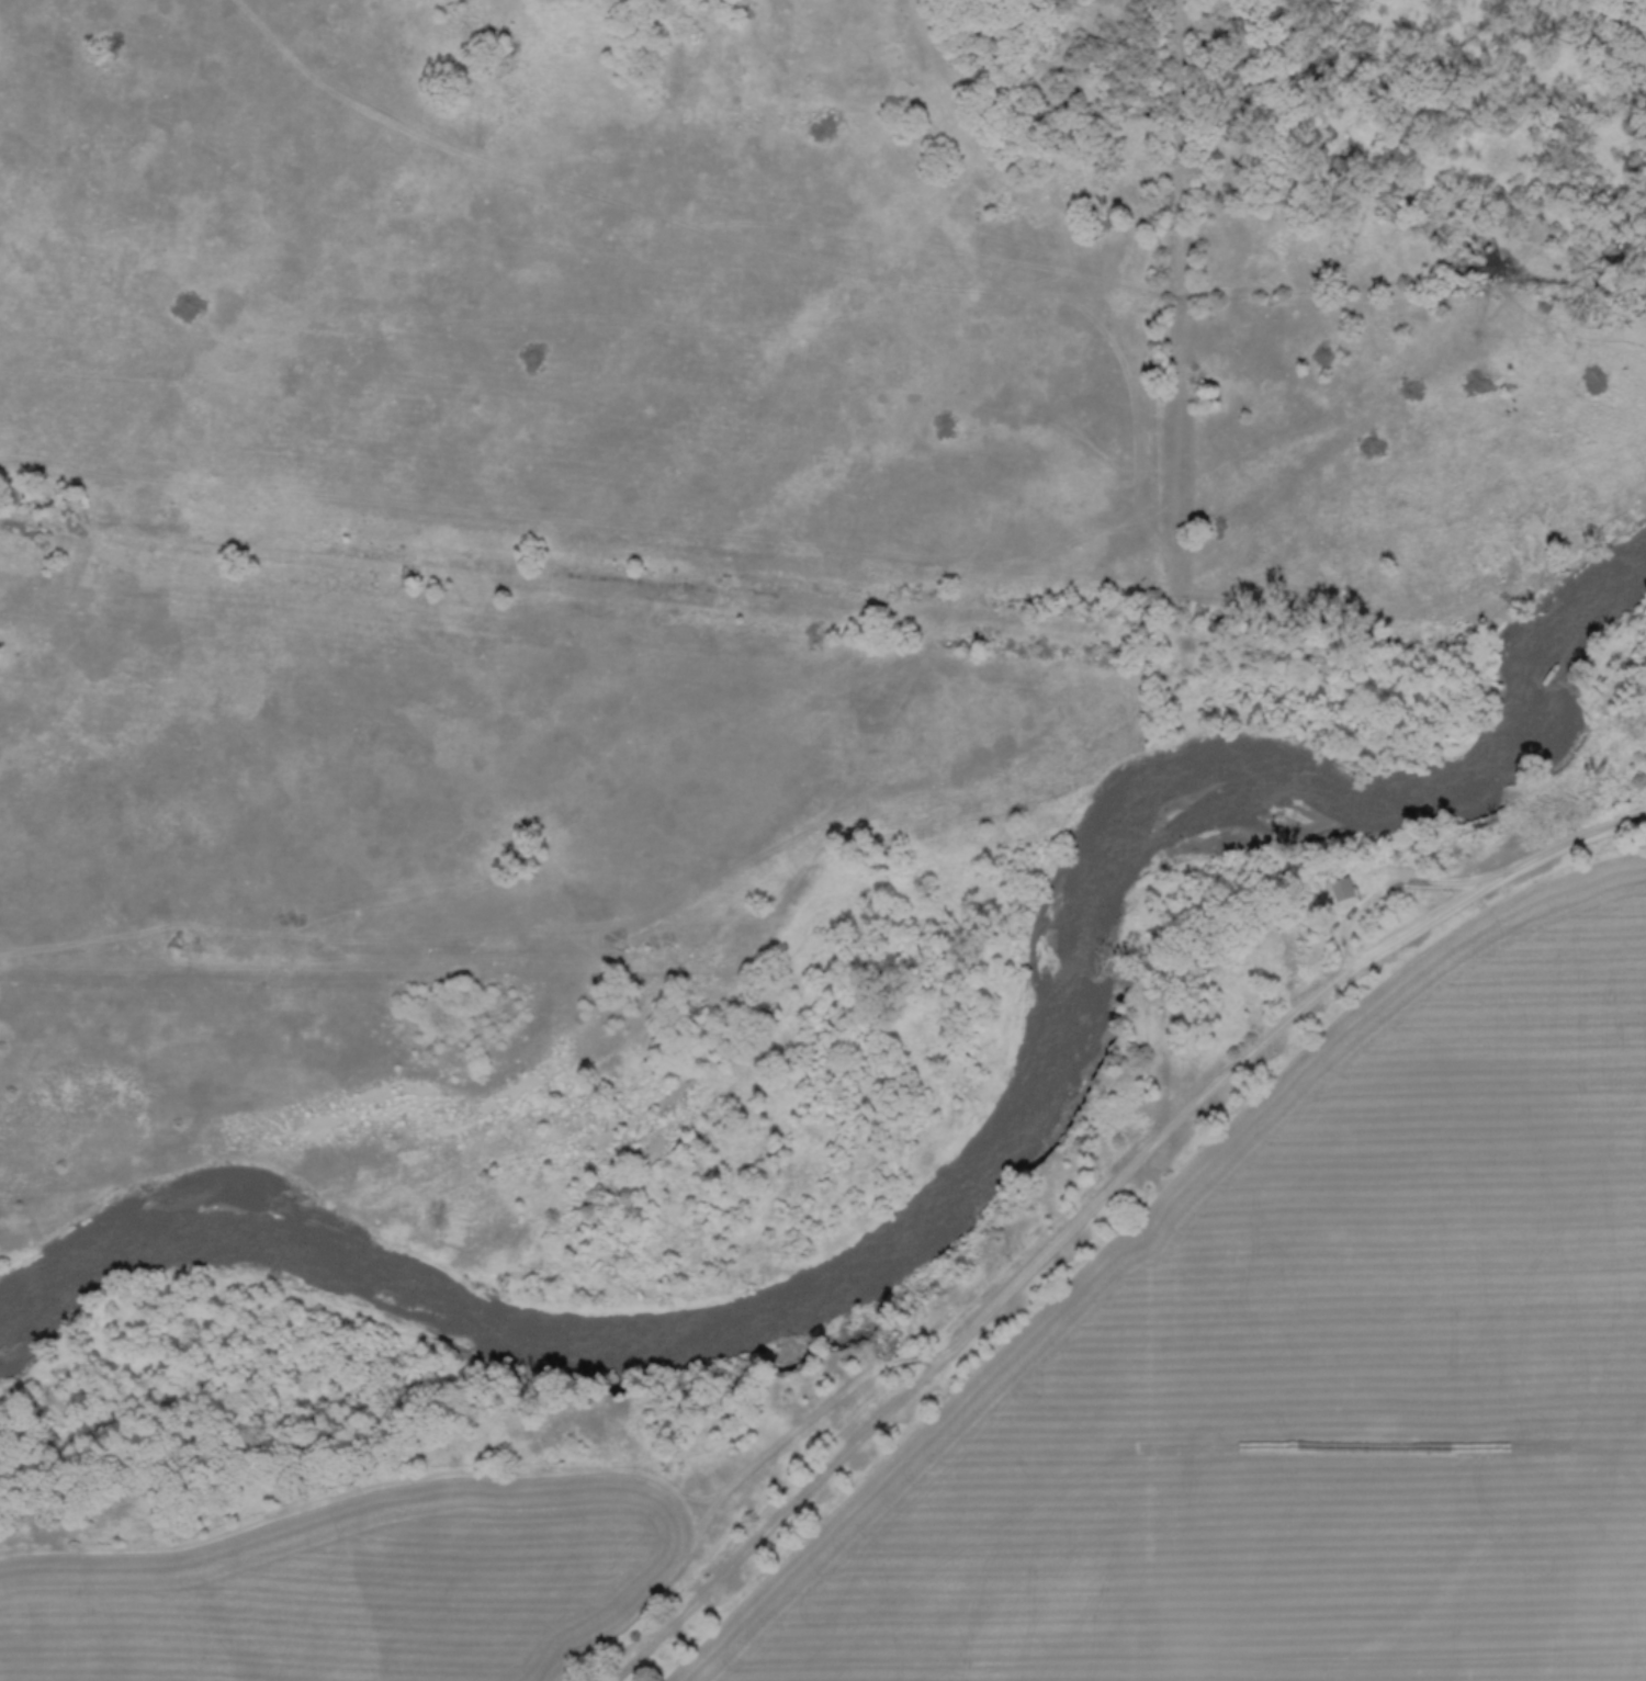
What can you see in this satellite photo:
road: (1188, 342)
building: (1349, 893)
river: (973, 1178)

